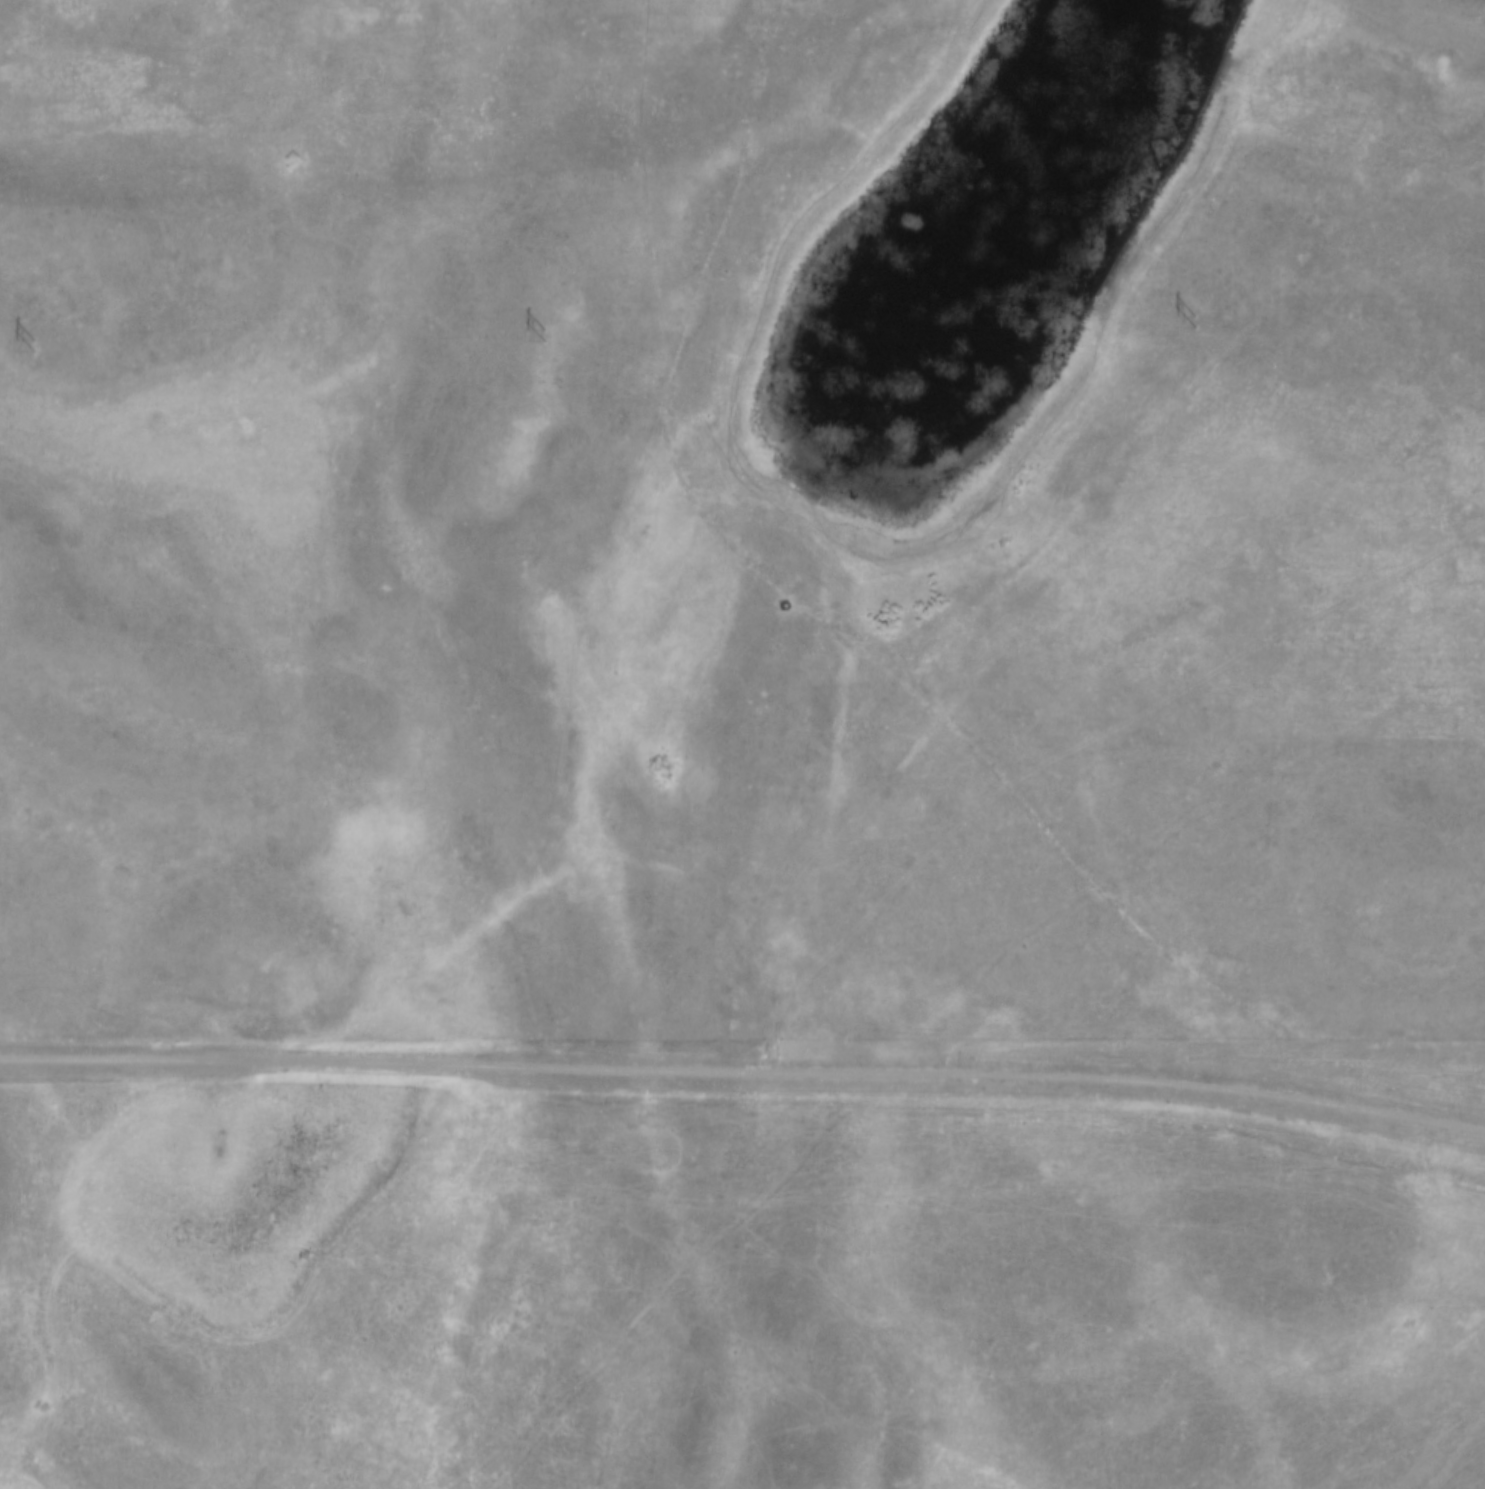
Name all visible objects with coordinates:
road: (744, 1074)

